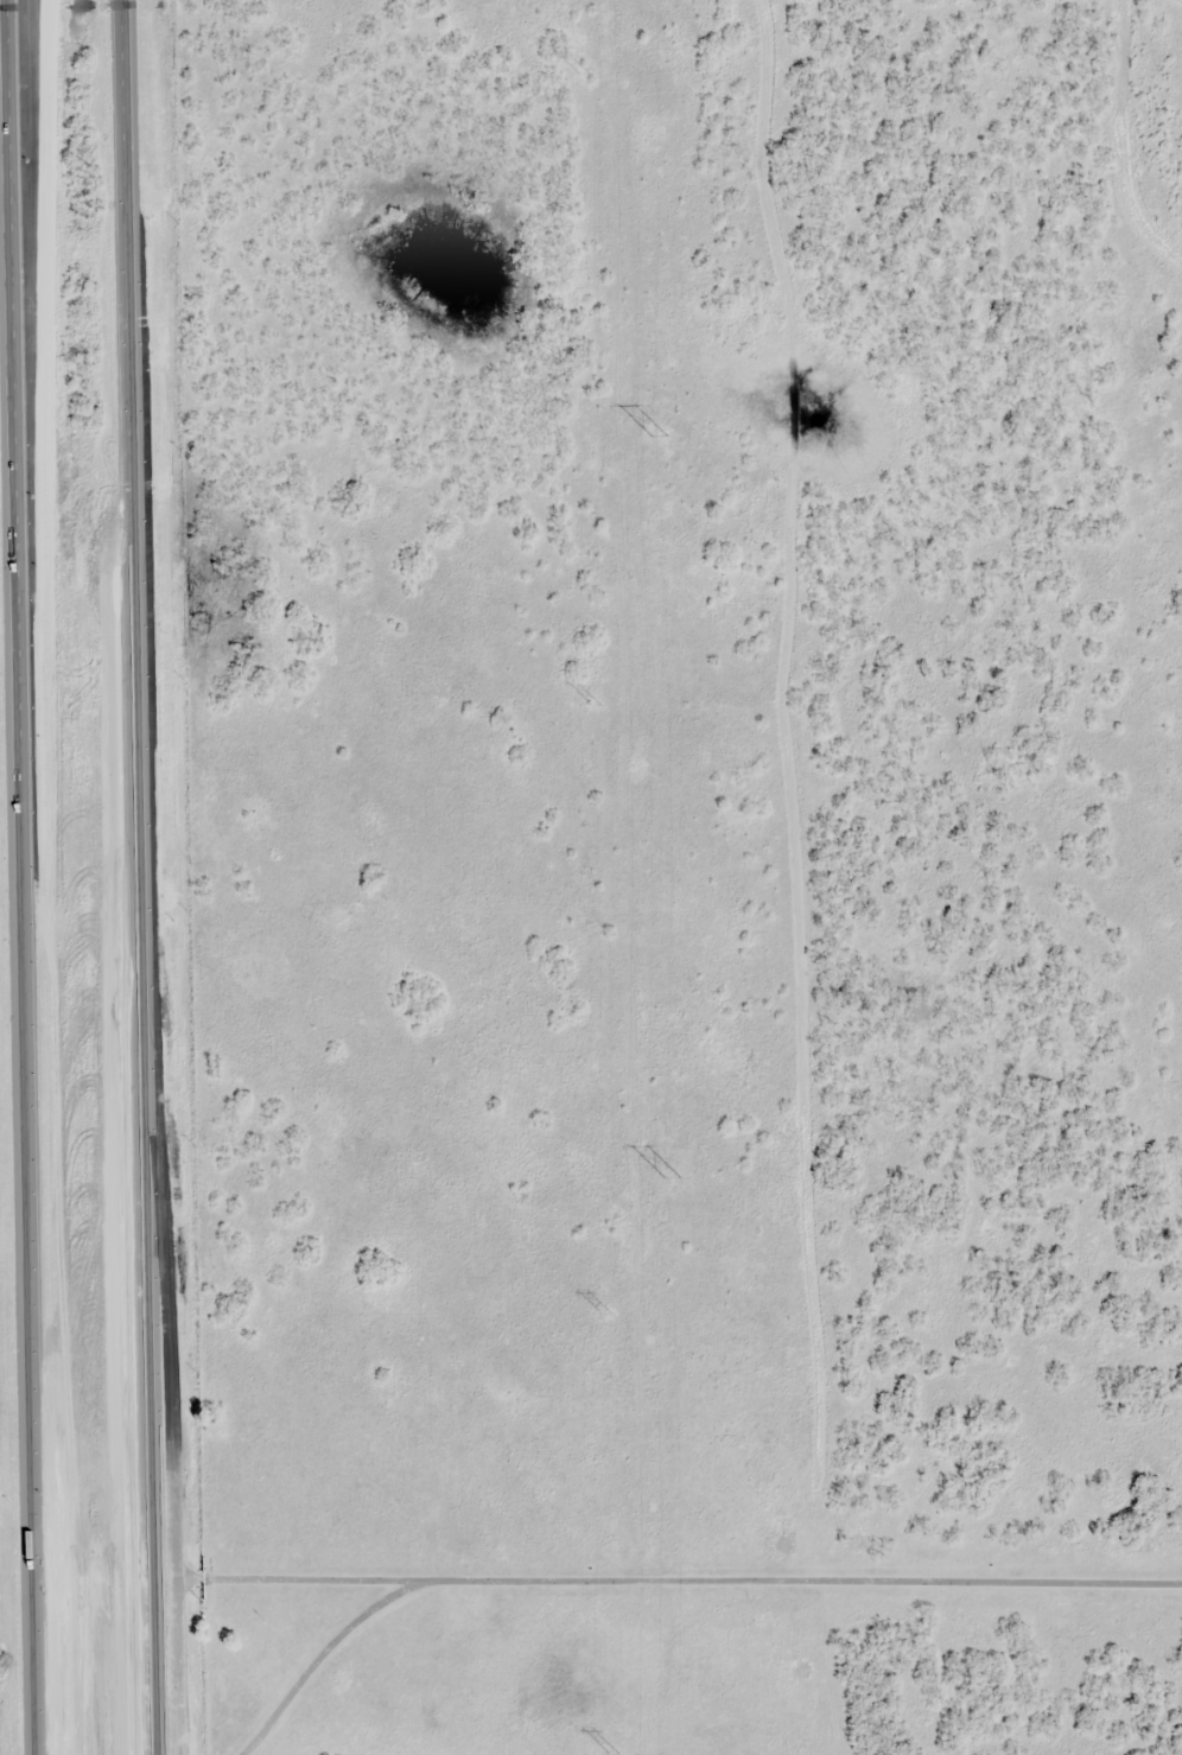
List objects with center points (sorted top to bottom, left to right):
power tower: (583, 72)
road: (21, 301)
power tower: (657, 434)
power tower: (596, 704)
road: (25, 877)
road: (129, 877)
road: (152, 1121)
power tower: (673, 1177)
power tower: (606, 1314)
road: (675, 1541)
road: (318, 1655)
road: (176, 1666)
power tower: (614, 1754)

